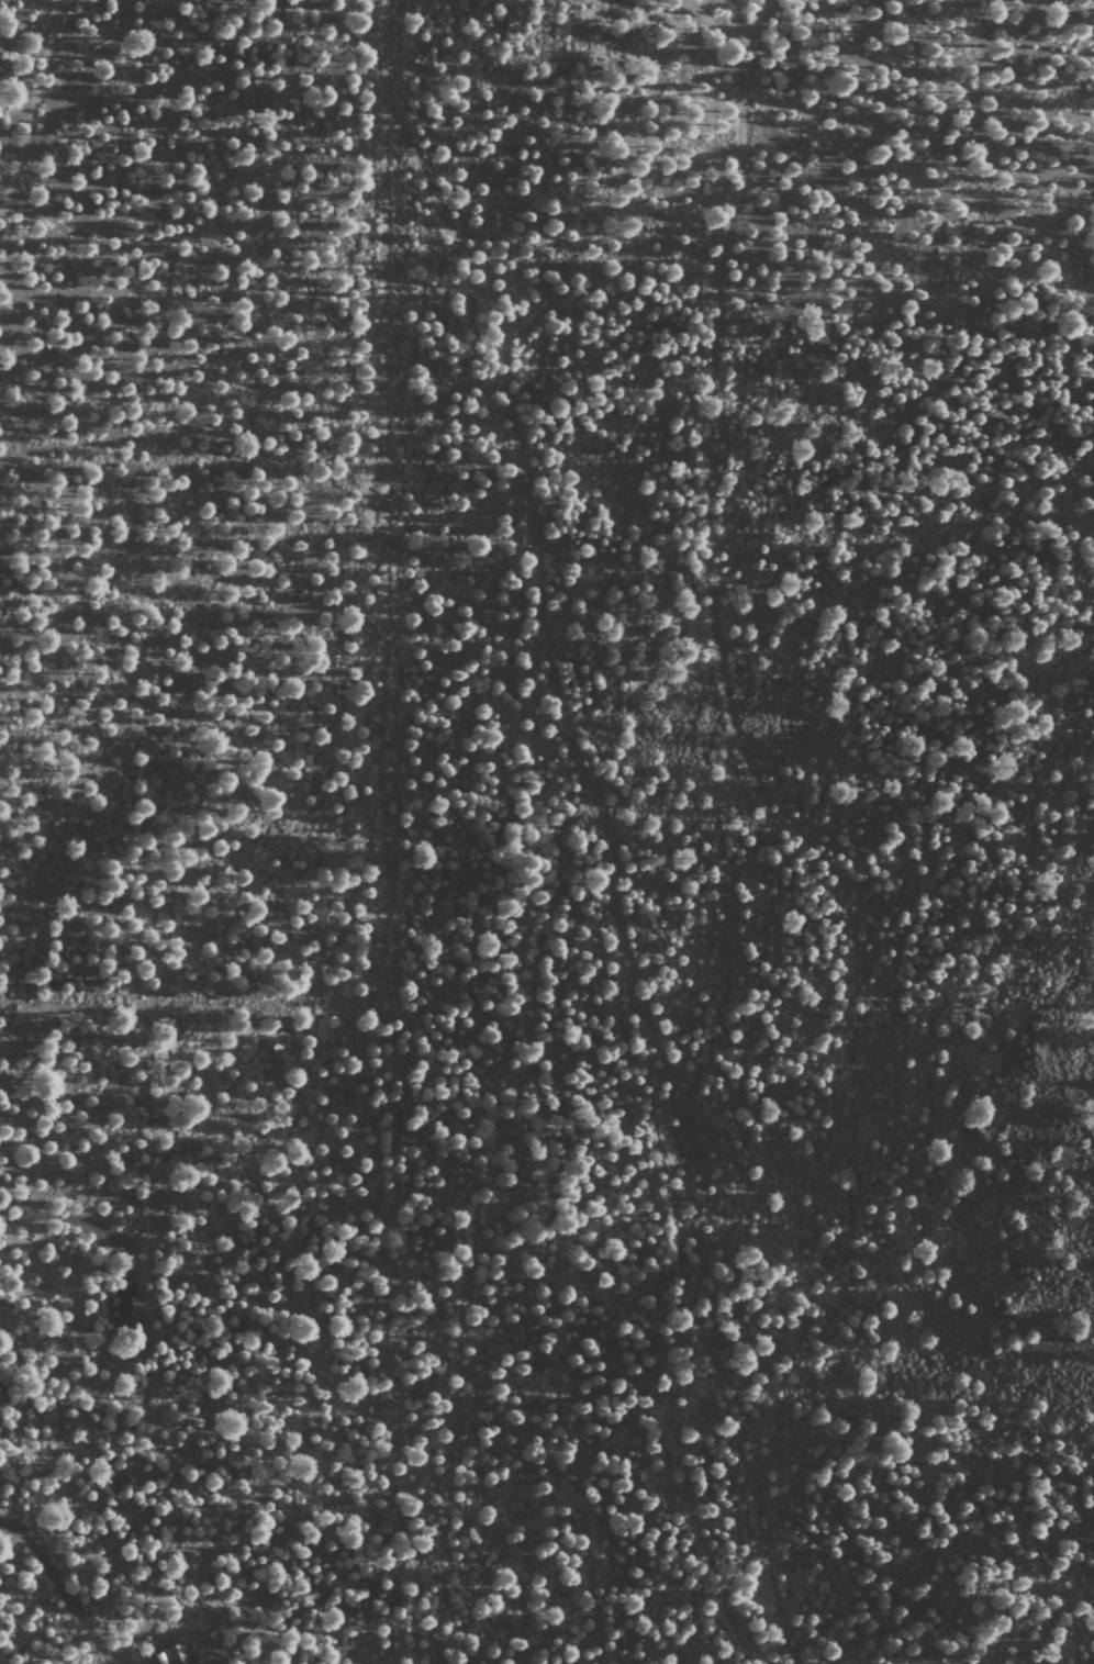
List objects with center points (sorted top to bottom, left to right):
road: (31, 105)
road: (700, 451)
road: (380, 680)
road: (609, 881)
road: (481, 1168)
building: (126, 1309)

